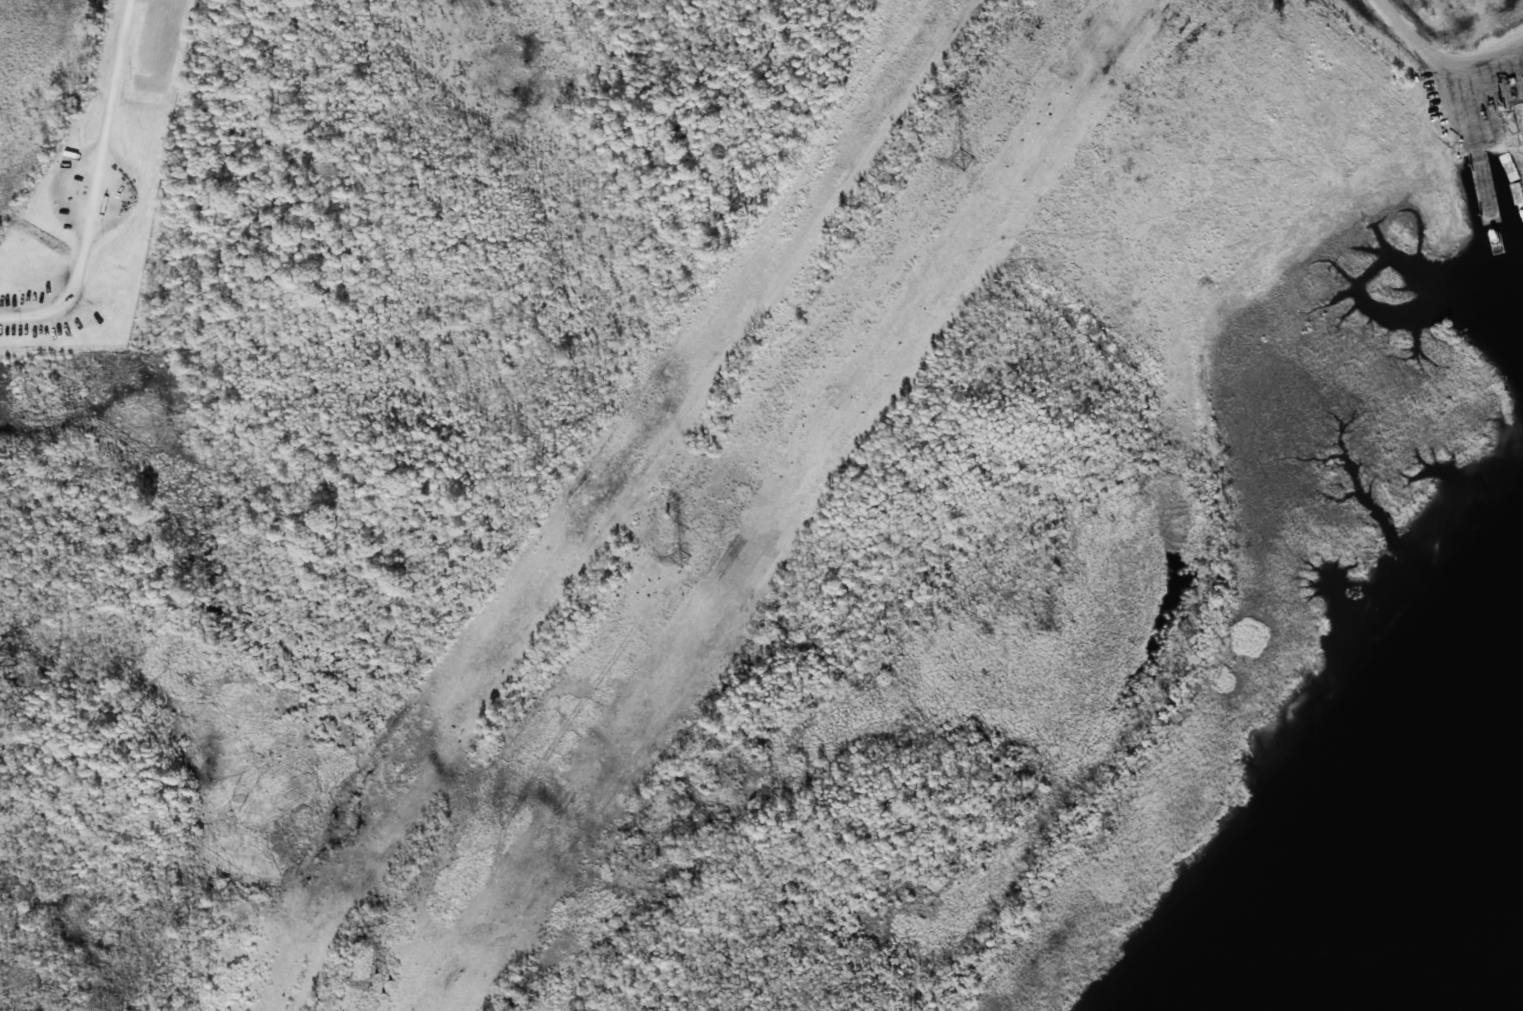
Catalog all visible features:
parking lot: (154, 43)
road: (1438, 62)
power tower: (960, 163)
road: (94, 186)
parking lot: (93, 194)
power tower: (678, 559)
power tower: (378, 983)

